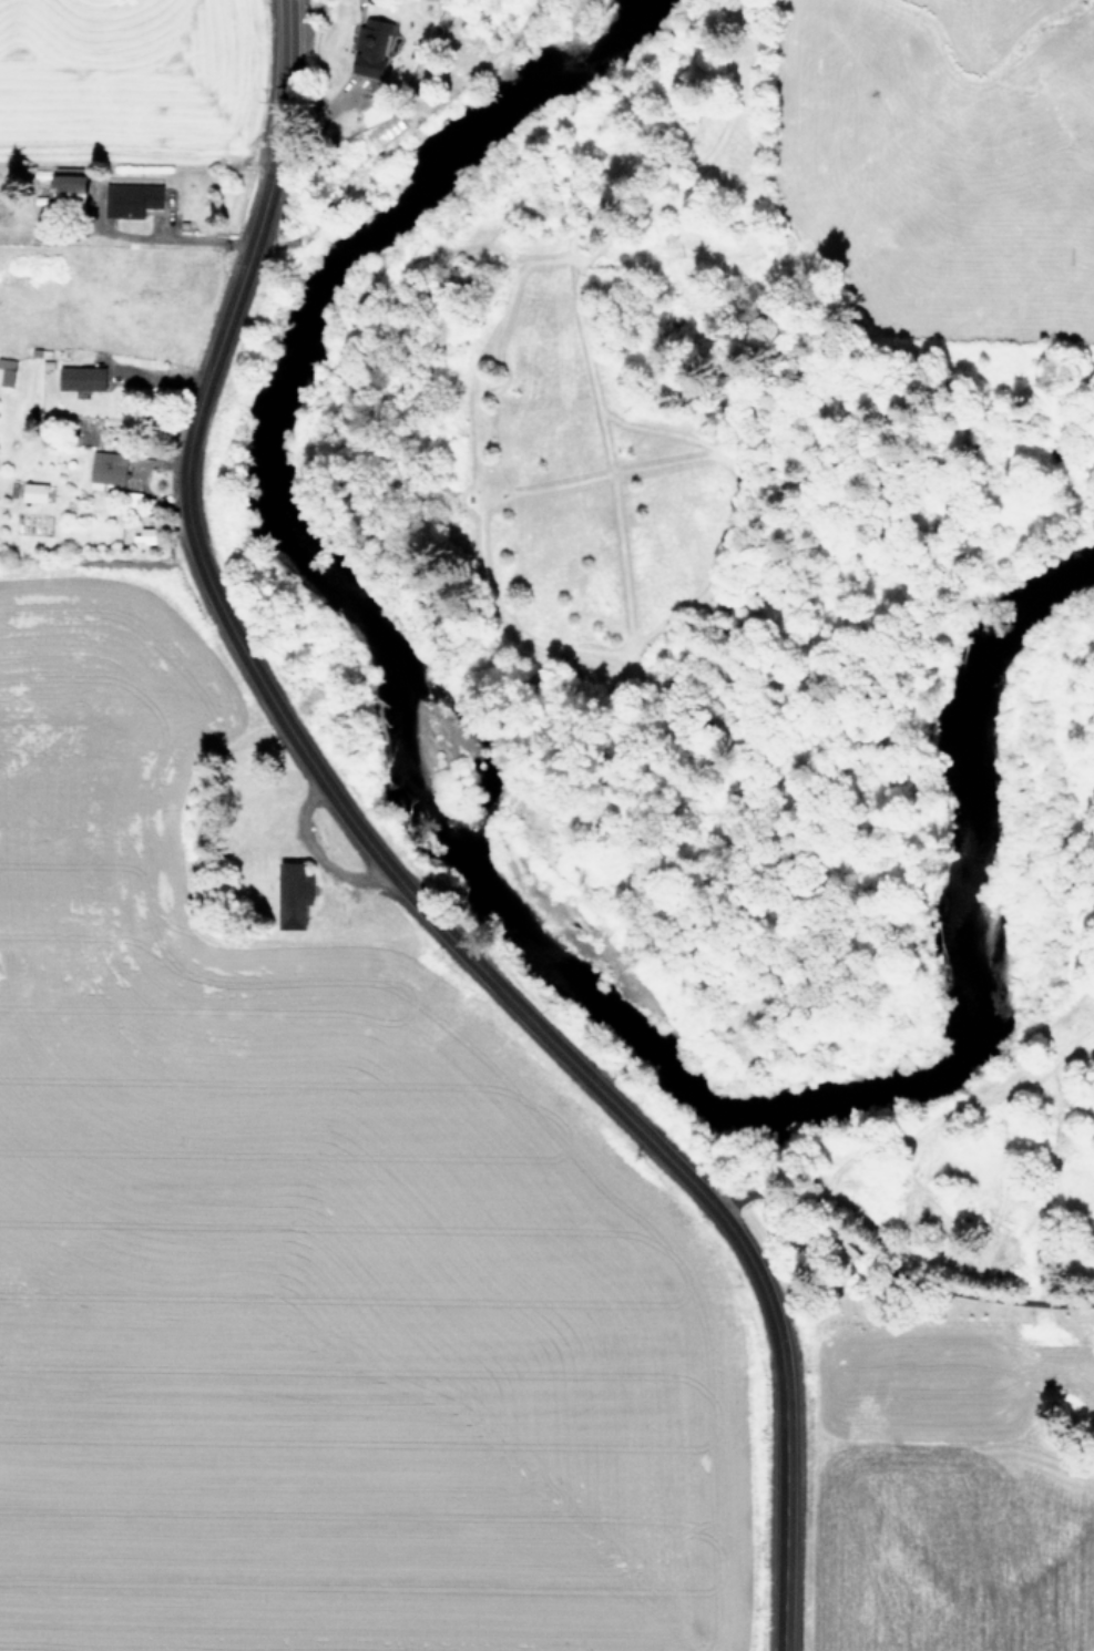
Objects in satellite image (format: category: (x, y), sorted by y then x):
building: (369, 47)
crop: (928, 154)
building: (64, 187)
building: (129, 198)
building: (6, 371)
building: (79, 378)
building: (105, 469)
road: (378, 865)
building: (290, 895)
crop: (257, 1075)
road: (926, 1304)
crop: (947, 1437)

